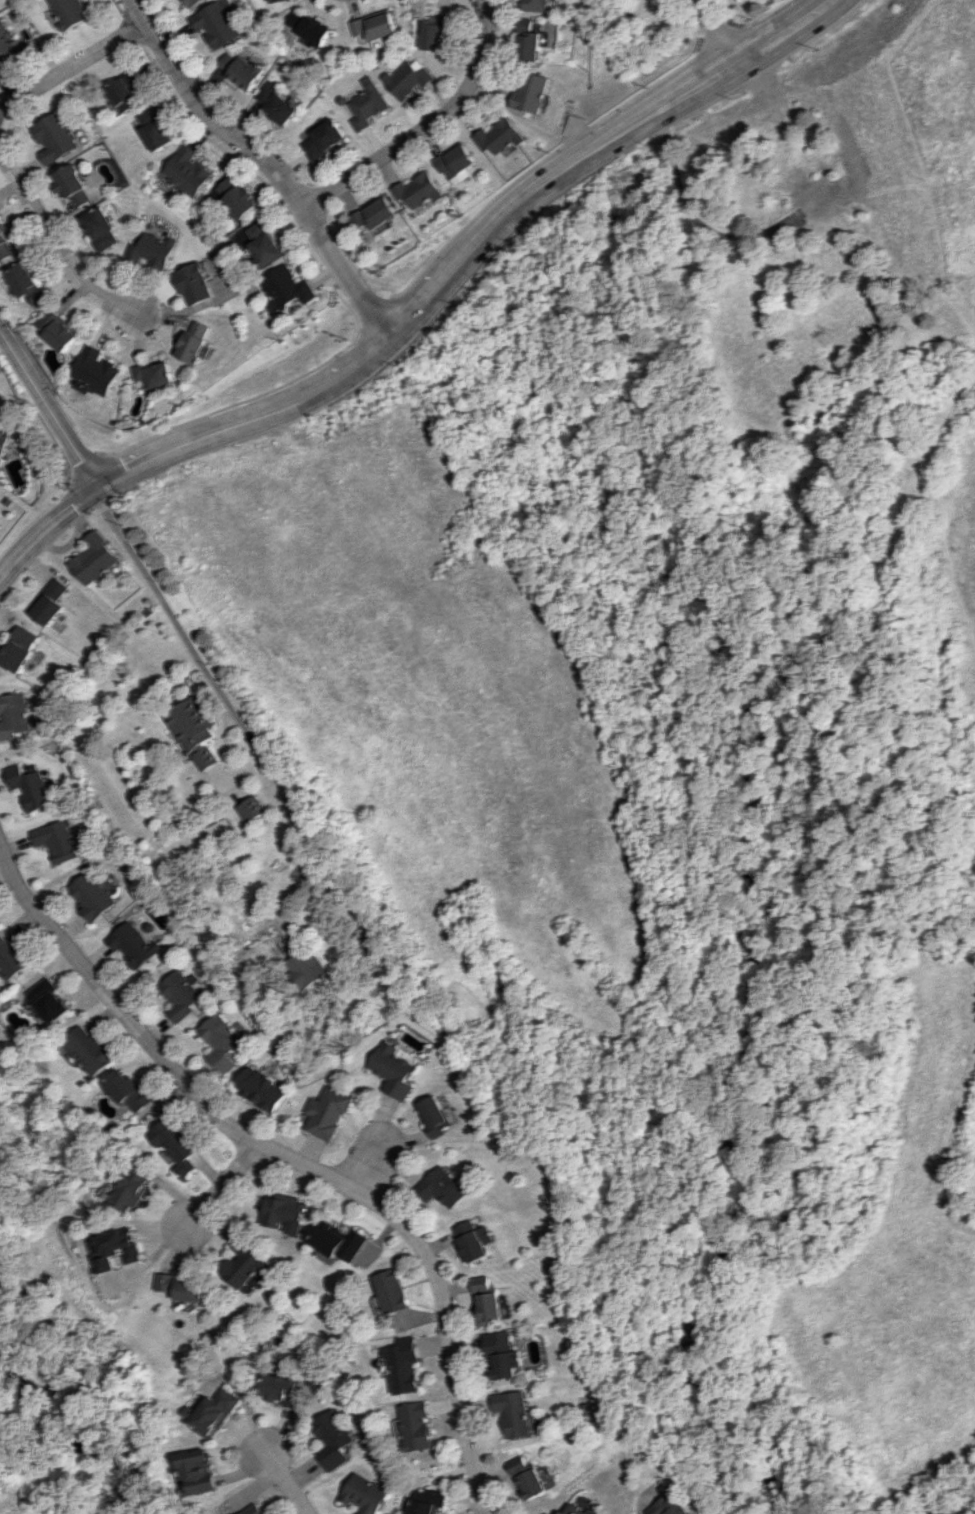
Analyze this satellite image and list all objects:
building: (276, 0)
building: (192, 2)
building: (539, 5)
building: (70, 12)
building: (216, 23)
building: (376, 25)
building: (310, 27)
building: (437, 30)
road: (715, 31)
building: (531, 41)
building: (9, 45)
road: (73, 65)
building: (241, 69)
building: (132, 76)
building: (409, 78)
building: (534, 92)
building: (122, 94)
building: (276, 103)
building: (367, 104)
road: (428, 126)
building: (154, 128)
building: (501, 136)
building: (57, 137)
building: (324, 138)
road: (270, 161)
building: (457, 162)
building: (187, 171)
building: (74, 186)
building: (421, 191)
building: (820, 197)
building: (235, 198)
building: (376, 216)
building: (102, 228)
building: (5, 243)
building: (262, 243)
road: (58, 247)
building: (154, 249)
building: (194, 283)
building: (28, 284)
building: (285, 288)
road: (420, 311)
building: (58, 330)
building: (197, 342)
building: (96, 372)
building: (154, 374)
building: (0, 394)
road: (49, 407)
building: (3, 442)
traffic signals: (98, 485)
building: (96, 558)
building: (53, 602)
building: (23, 648)
road: (224, 697)
building: (15, 716)
building: (193, 723)
building: (207, 758)
building: (32, 787)
building: (253, 808)
building: (220, 827)
building: (56, 840)
building: (91, 895)
building: (134, 943)
building: (11, 956)
building: (307, 967)
building: (180, 994)
building: (51, 1001)
building: (91, 1049)
building: (393, 1069)
building: (260, 1088)
building: (128, 1089)
building: (326, 1112)
building: (433, 1115)
road: (386, 1128)
building: (175, 1143)
road: (289, 1158)
road: (216, 1187)
building: (442, 1187)
building: (130, 1190)
building: (285, 1213)
building: (338, 1240)
building: (471, 1241)
building: (117, 1248)
building: (244, 1264)
building: (183, 1287)
building: (389, 1291)
building: (486, 1300)
building: (500, 1354)
building: (401, 1365)
building: (278, 1389)
building: (213, 1412)
building: (511, 1412)
building: (414, 1426)
building: (327, 1438)
building: (196, 1471)
building: (524, 1478)
road: (281, 1480)
building: (361, 1494)
building: (425, 1501)
building: (670, 1505)
road: (966, 1507)
building: (253, 1510)
building: (579, 1510)

